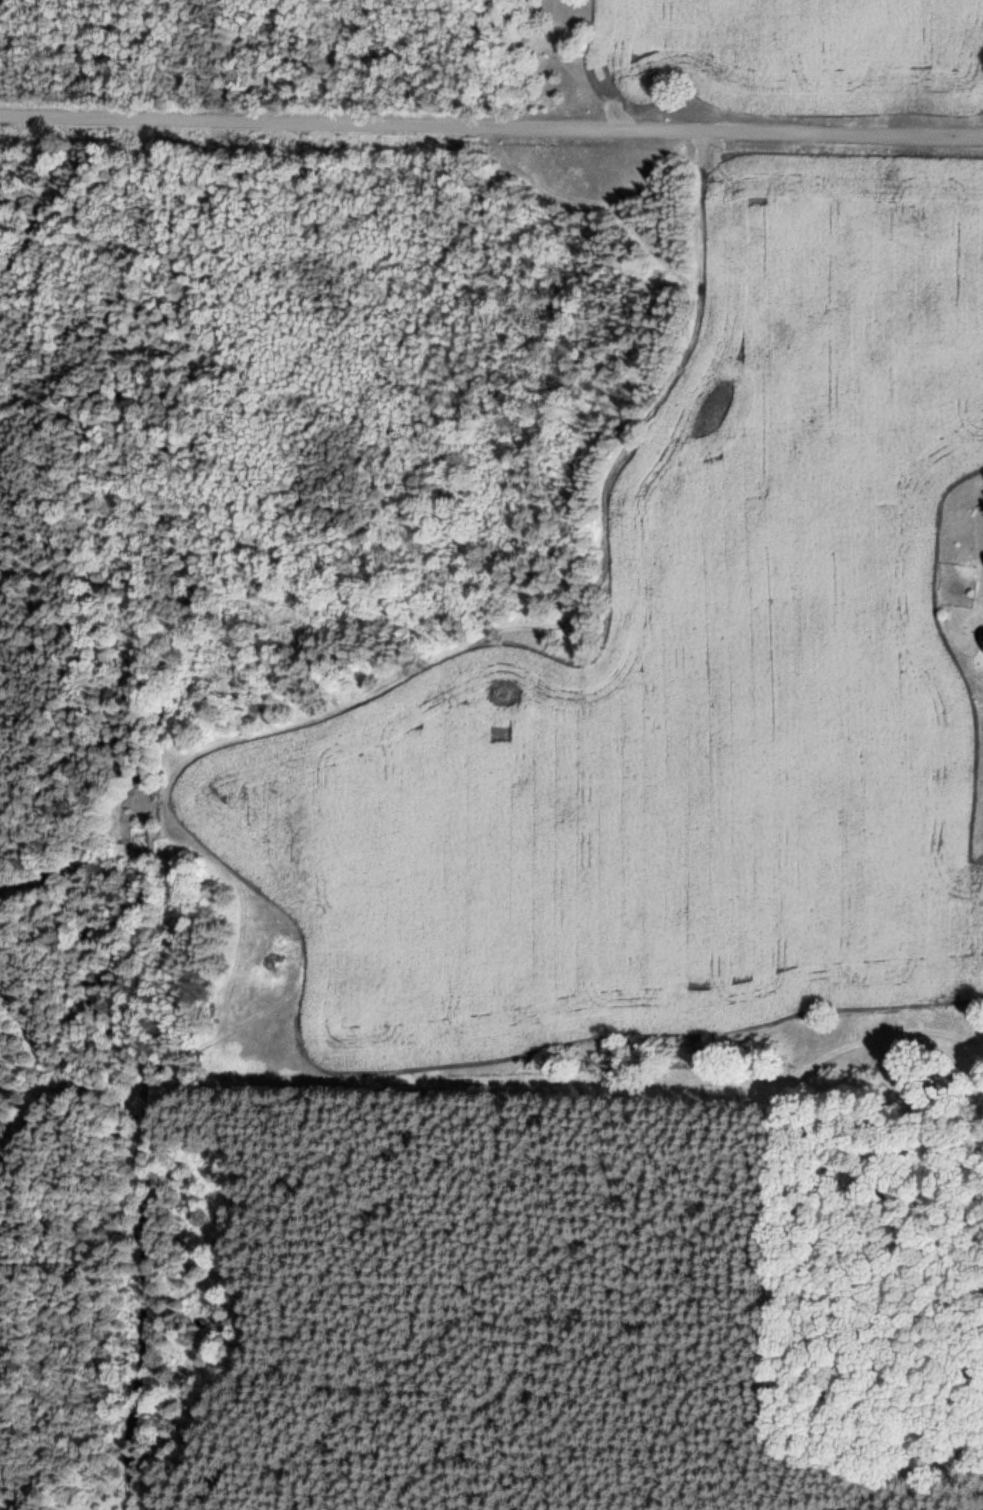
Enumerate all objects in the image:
road: (491, 125)

